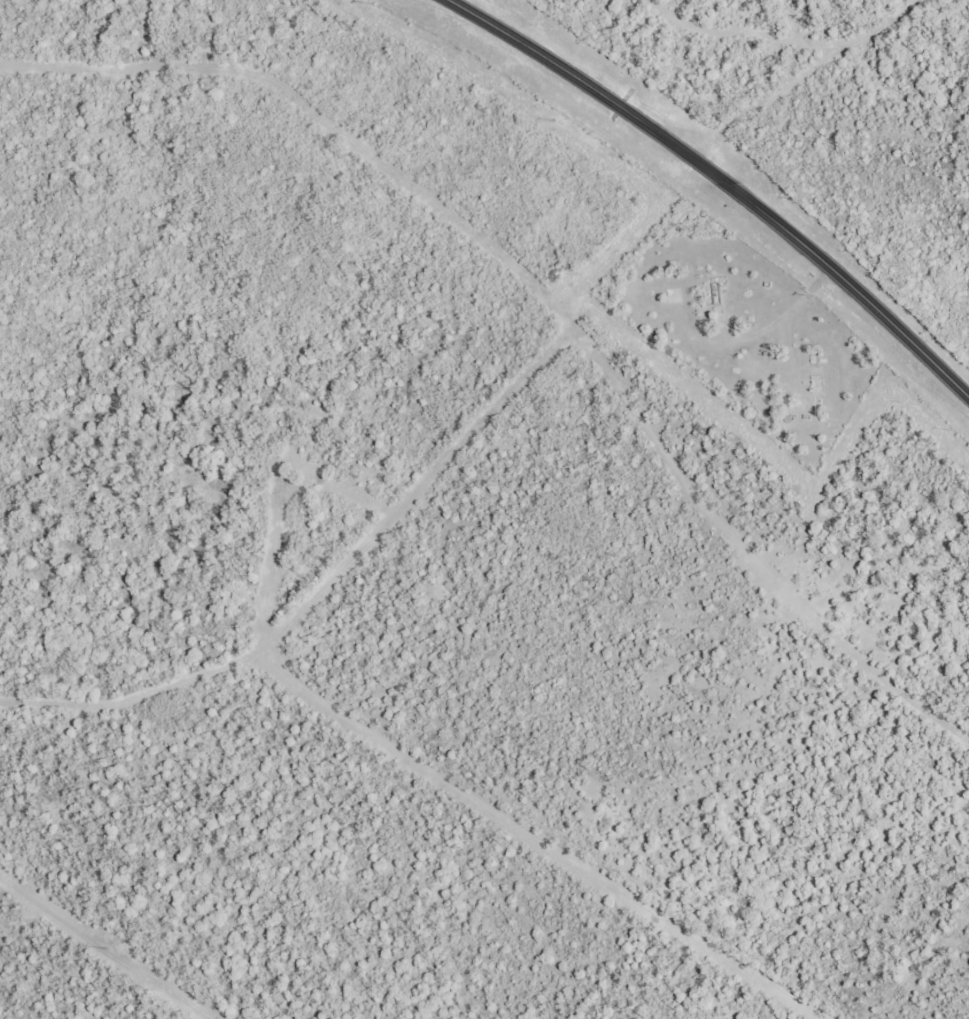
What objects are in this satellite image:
road: (721, 181)
power tower: (108, 947)

